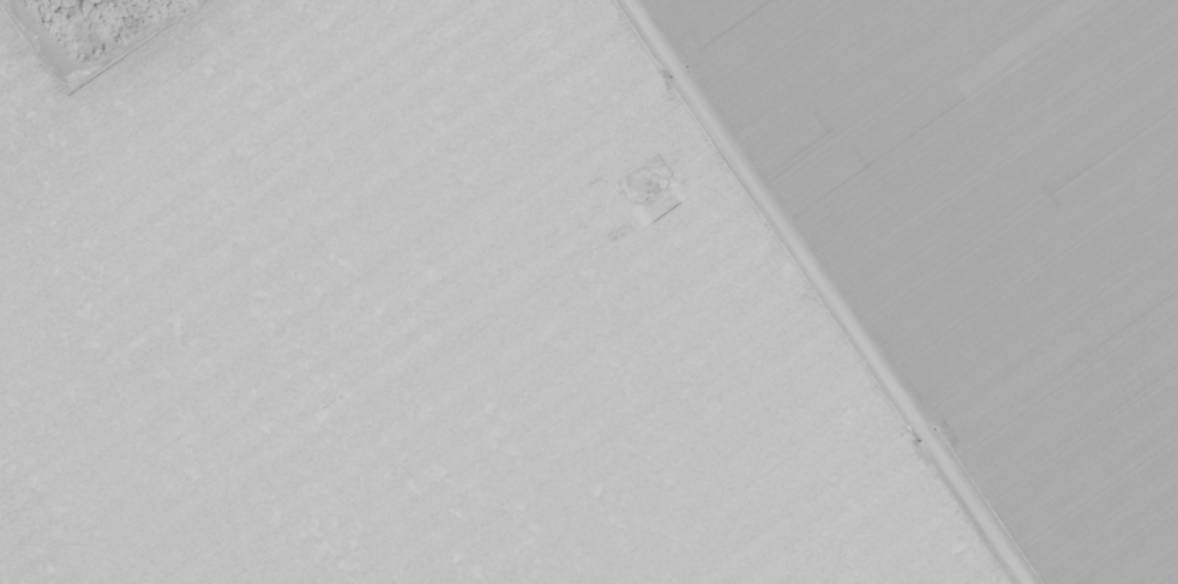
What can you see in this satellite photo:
road: (517, 306)

